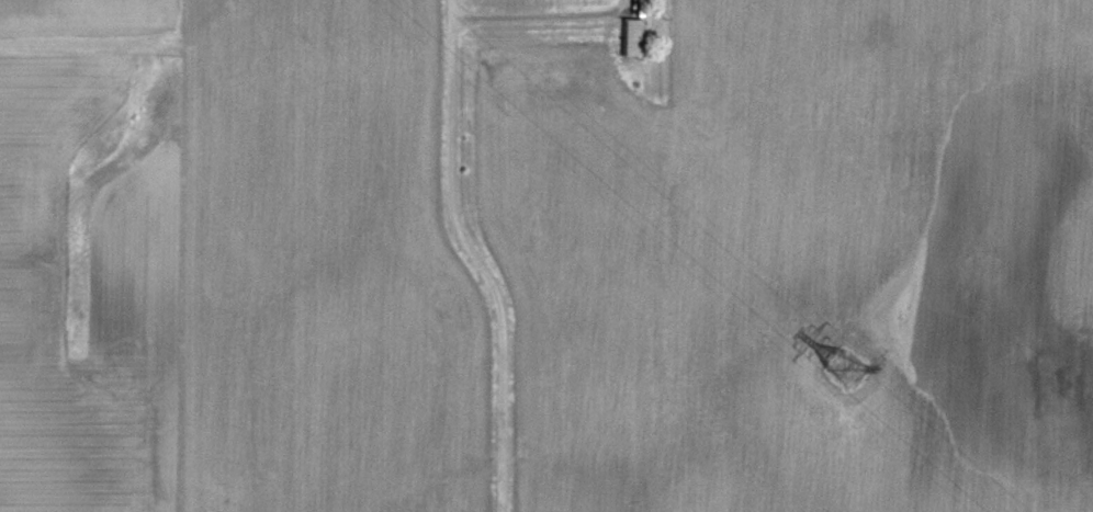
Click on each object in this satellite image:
road: (453, 11)
building: (636, 36)
building: (633, 73)
road: (450, 184)
power tower: (850, 371)

